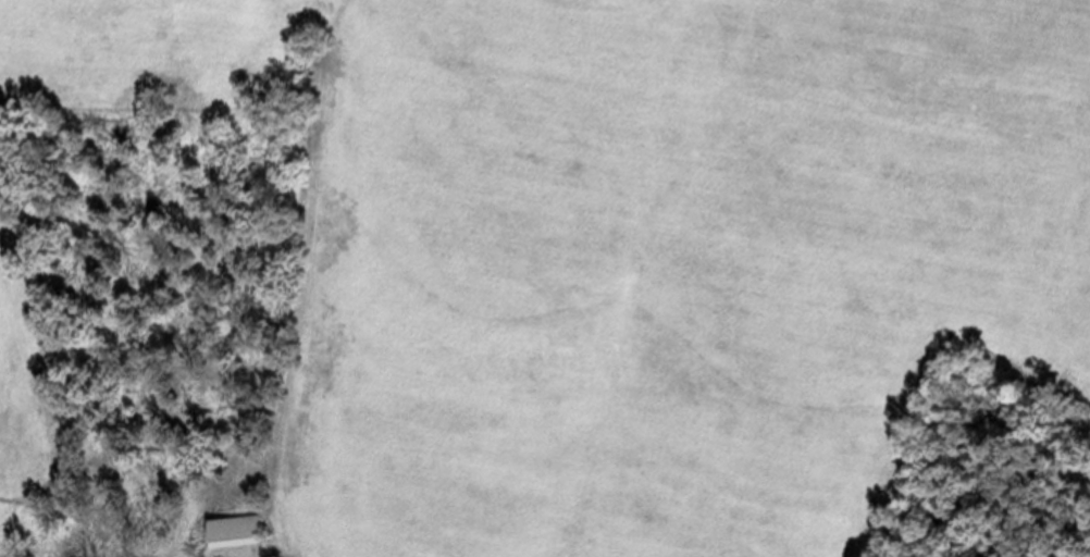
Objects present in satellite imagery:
crop: (632, 246)
road: (297, 309)
crop: (25, 392)
building: (231, 532)

